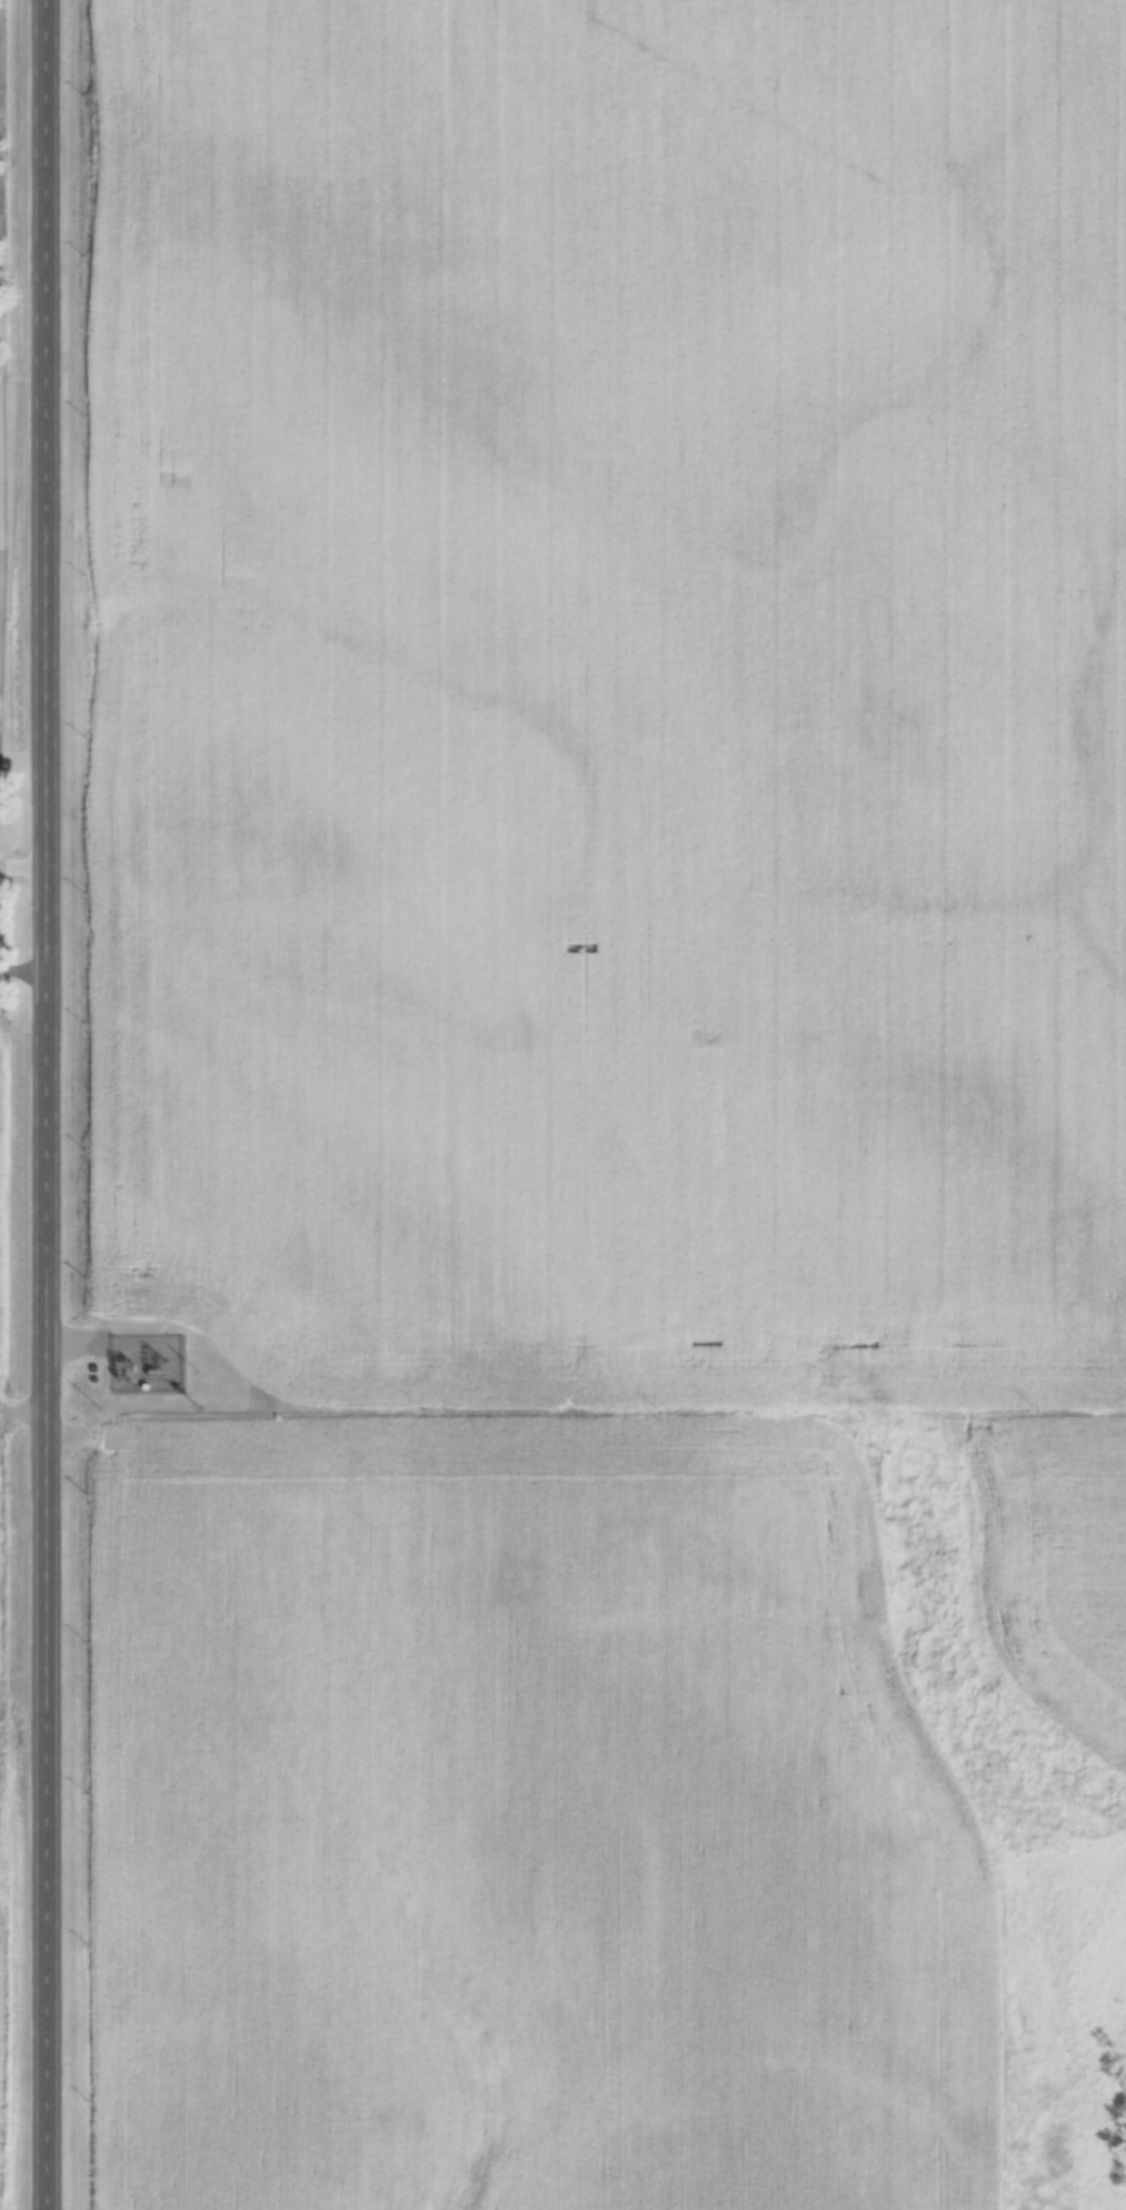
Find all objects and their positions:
road: (28, 872)
road: (28, 973)
road: (56, 1104)

